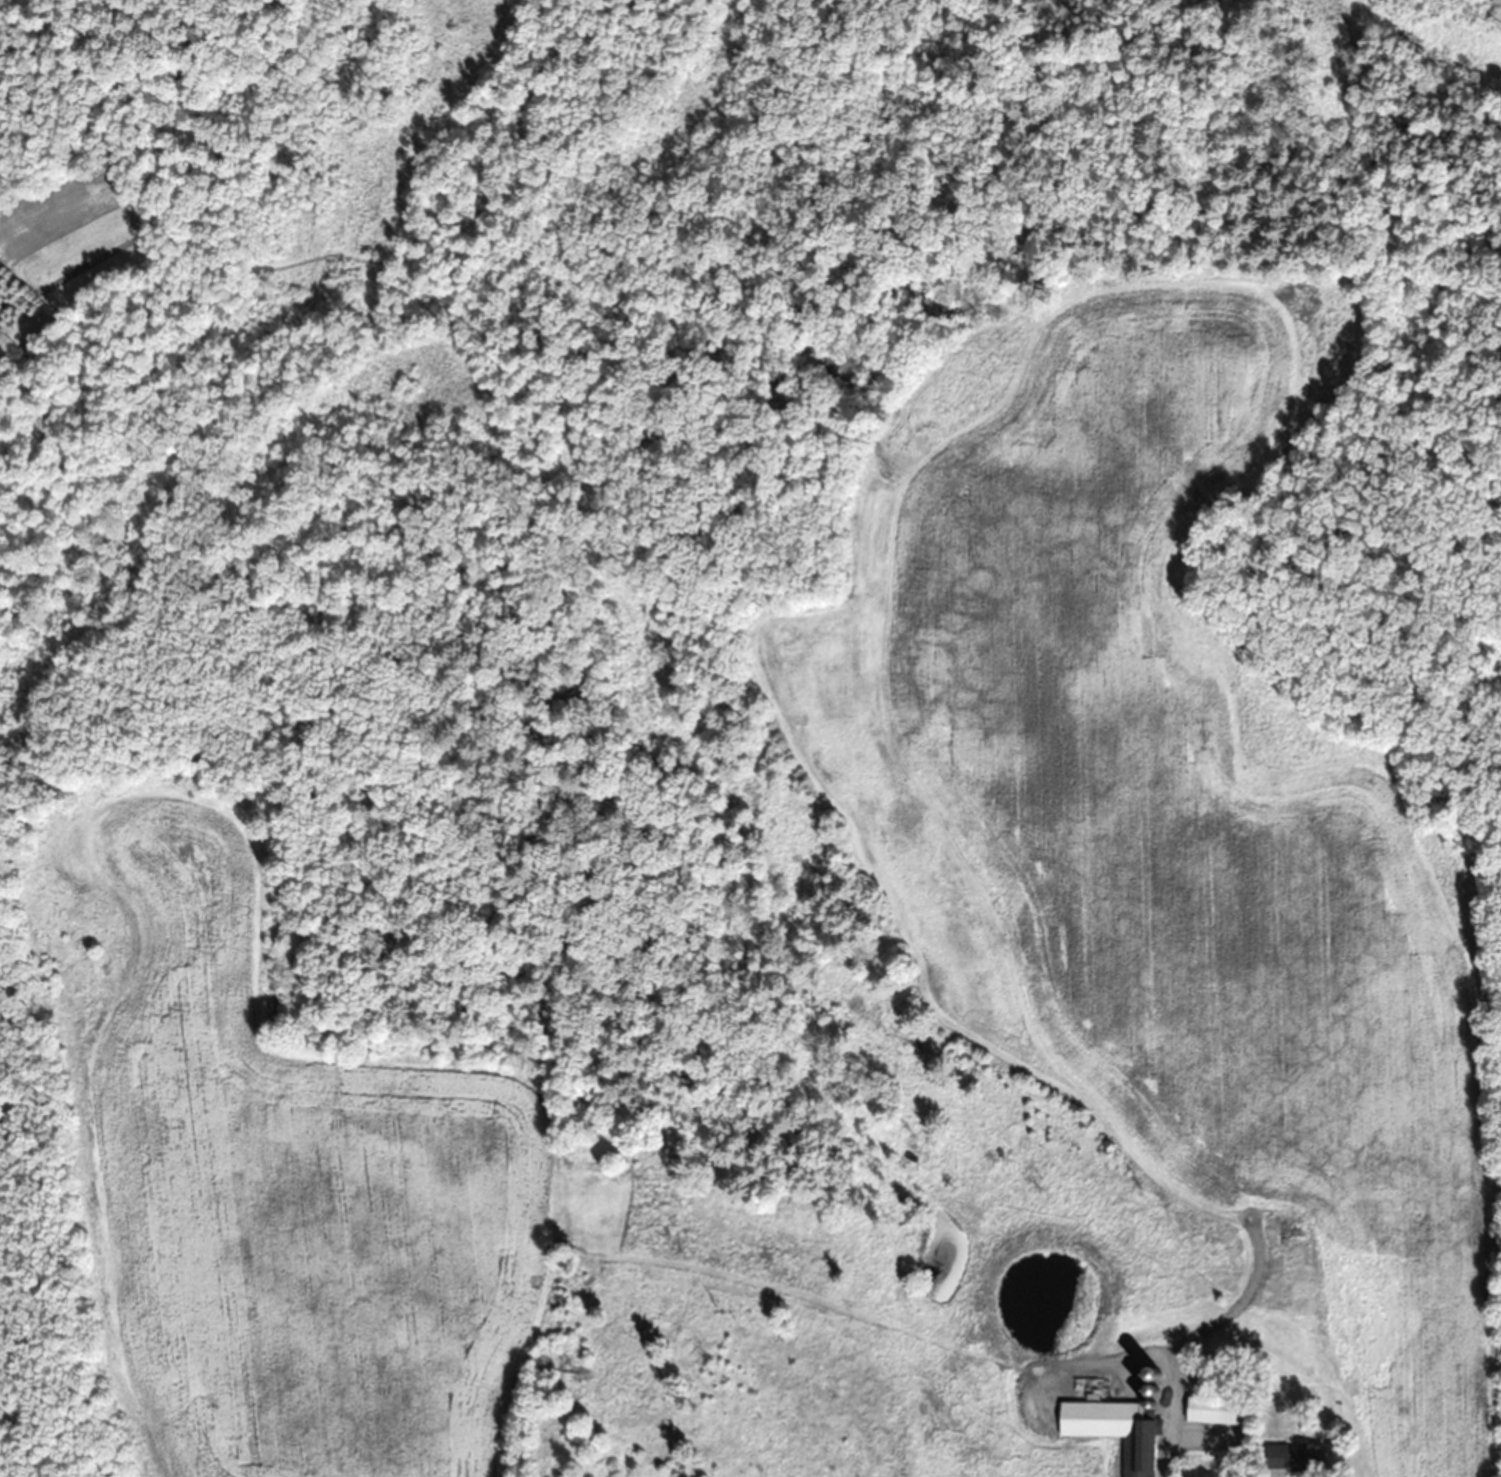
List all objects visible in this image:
building: (1087, 1382)
building: (1213, 1408)
building: (1115, 1429)
building: (1295, 1456)

